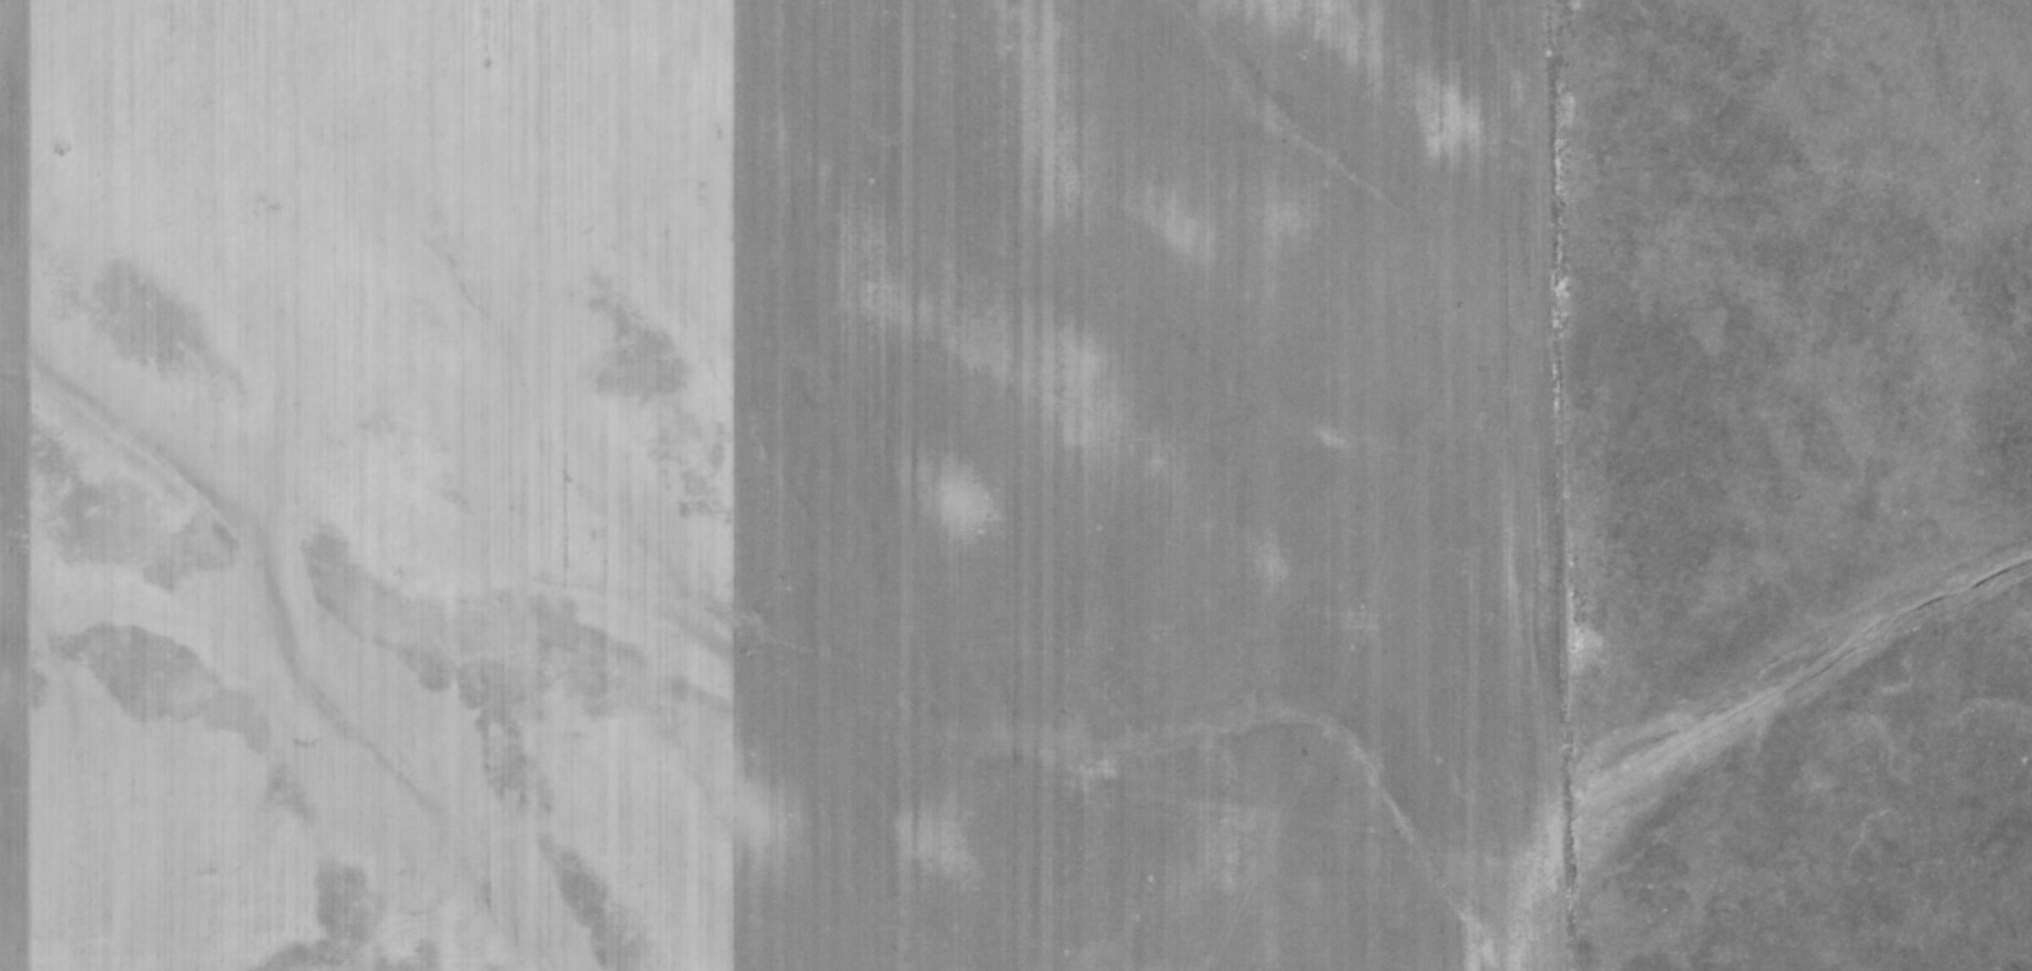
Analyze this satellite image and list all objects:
crop: (772, 486)

